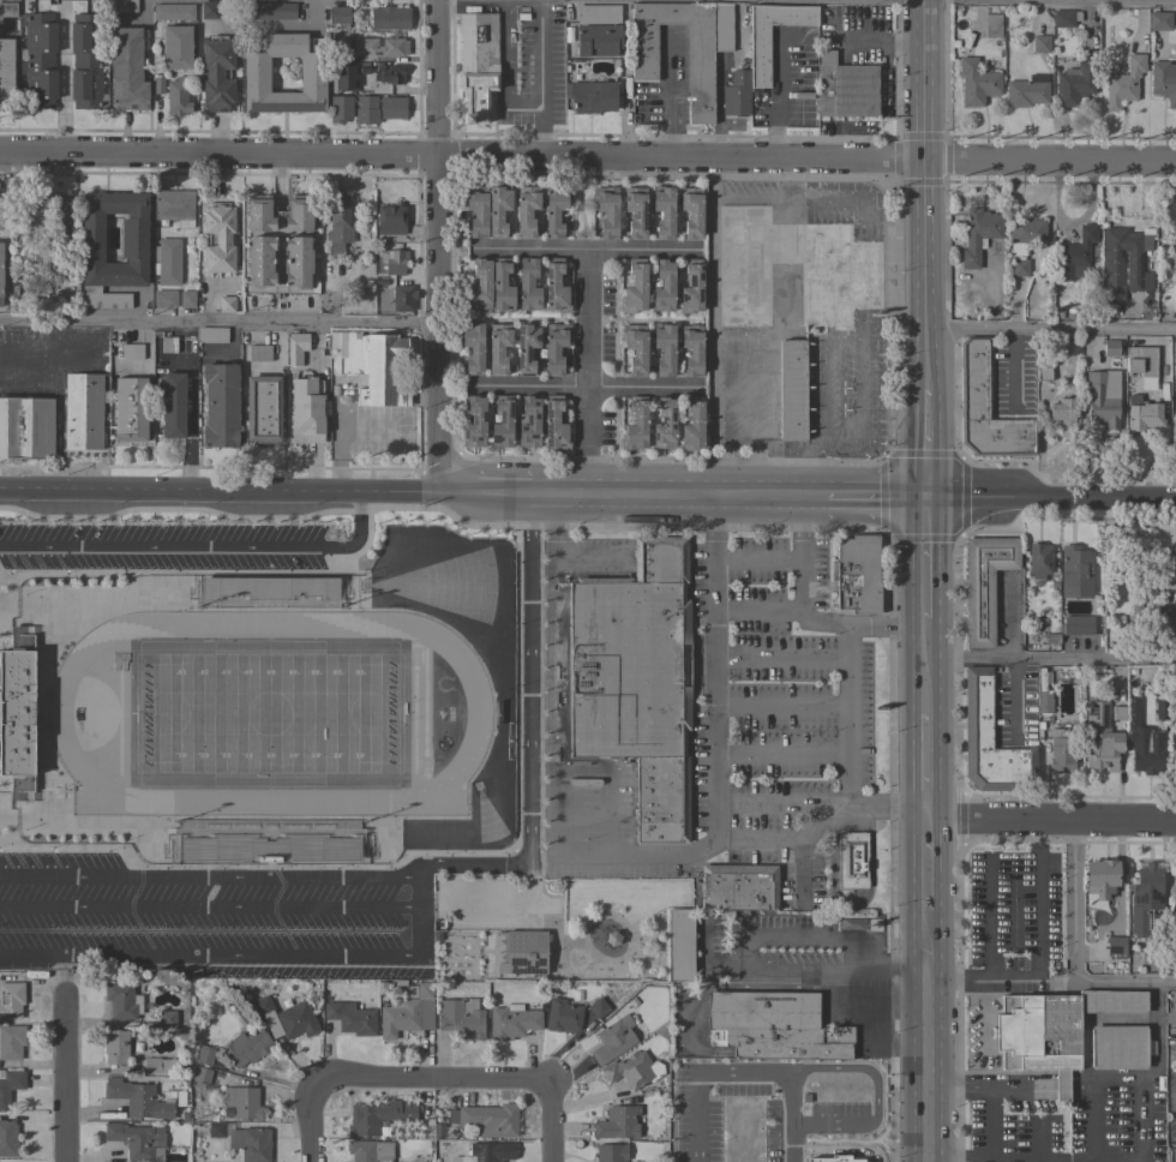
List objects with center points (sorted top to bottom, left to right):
road: (1159, 0)
building: (121, 6)
building: (7, 8)
building: (209, 10)
building: (268, 10)
building: (172, 11)
building: (596, 13)
building: (338, 14)
building: (389, 18)
building: (1063, 18)
building: (1159, 20)
road: (269, 22)
building: (991, 25)
building: (721, 26)
building: (769, 38)
building: (340, 40)
building: (598, 40)
building: (954, 44)
building: (1040, 44)
building: (175, 47)
building: (378, 47)
building: (980, 50)
road: (394, 59)
building: (38, 60)
building: (85, 62)
building: (476, 64)
building: (700, 66)
road: (503, 67)
building: (127, 68)
building: (6, 73)
building: (217, 73)
building: (312, 74)
building: (389, 74)
road: (62, 77)
road: (540, 78)
building: (341, 79)
building: (1163, 82)
building: (976, 83)
building: (1123, 83)
building: (1074, 84)
building: (156, 85)
building: (845, 88)
building: (1026, 91)
road: (671, 94)
building: (736, 94)
building: (176, 96)
building: (592, 96)
building: (391, 107)
building: (340, 108)
building: (365, 110)
road: (464, 155)
road: (1052, 163)
road: (930, 193)
building: (174, 206)
building: (554, 210)
building: (32, 211)
building: (476, 211)
building: (497, 211)
building: (526, 211)
building: (606, 211)
building: (635, 211)
building: (662, 211)
building: (278, 212)
building: (691, 212)
building: (62, 215)
building: (389, 220)
building: (337, 223)
building: (977, 234)
building: (133, 238)
building: (218, 240)
building: (1022, 241)
road: (434, 245)
road: (533, 250)
road: (641, 251)
building: (1075, 254)
building: (40, 259)
building: (260, 260)
building: (168, 262)
building: (296, 262)
building: (392, 262)
building: (1120, 262)
building: (744, 266)
building: (67, 275)
building: (836, 275)
building: (480, 284)
building: (502, 284)
building: (528, 286)
building: (664, 286)
building: (554, 287)
building: (634, 287)
building: (691, 287)
building: (402, 297)
building: (164, 299)
building: (186, 299)
building: (226, 304)
building: (1058, 315)
road: (217, 322)
road: (1052, 331)
building: (212, 335)
building: (168, 345)
building: (473, 347)
building: (498, 347)
building: (526, 347)
building: (554, 347)
building: (294, 348)
building: (635, 348)
building: (664, 348)
building: (1110, 348)
building: (691, 349)
building: (131, 351)
building: (258, 353)
road: (130, 363)
building: (370, 365)
building: (1141, 366)
road: (587, 372)
building: (1043, 372)
road: (584, 388)
building: (791, 389)
building: (844, 390)
building: (1103, 397)
building: (173, 405)
road: (188, 406)
building: (220, 406)
building: (986, 408)
building: (130, 409)
building: (262, 409)
building: (1062, 409)
building: (83, 411)
building: (306, 411)
building: (1141, 414)
building: (500, 421)
building: (527, 421)
building: (474, 423)
building: (554, 424)
building: (635, 424)
building: (664, 424)
building: (692, 424)
building: (25, 427)
road: (930, 445)
road: (178, 490)
road: (440, 491)
road: (538, 493)
road: (686, 496)
road: (876, 501)
traffic signals: (930, 503)
road: (1052, 503)
road: (202, 543)
road: (713, 555)
road: (755, 558)
road: (798, 558)
road: (930, 561)
building: (1038, 562)
building: (1163, 570)
building: (1075, 573)
building: (857, 574)
building: (984, 585)
building: (266, 592)
building: (1076, 625)
building: (1171, 625)
building: (236, 628)
road: (1054, 660)
road: (931, 667)
building: (635, 679)
building: (1044, 702)
stadium: (266, 707)
building: (1164, 708)
road: (710, 709)
building: (16, 712)
park: (265, 712)
track: (266, 712)
building: (1117, 713)
road: (848, 714)
building: (1130, 720)
building: (1175, 730)
building: (1100, 738)
building: (990, 742)
building: (1061, 750)
building: (1145, 756)
road: (931, 768)
road: (528, 774)
road: (551, 775)
road: (1054, 822)
road: (809, 825)
road: (785, 841)
building: (853, 859)
road: (932, 867)
road: (208, 874)
building: (1102, 878)
building: (1174, 881)
building: (1148, 885)
building: (738, 887)
road: (1037, 900)
road: (208, 905)
building: (850, 923)
building: (1154, 923)
park: (547, 924)
road: (774, 934)
building: (1116, 945)
building: (679, 946)
road: (1074, 948)
road: (205, 953)
building: (523, 953)
road: (1006, 980)
building: (11, 1000)
building: (122, 1000)
building: (598, 1007)
building: (402, 1012)
building: (562, 1016)
building: (286, 1018)
building: (350, 1018)
building: (167, 1019)
building: (461, 1019)
building: (512, 1022)
building: (772, 1026)
building: (1052, 1030)
road: (932, 1037)
road: (859, 1038)
building: (613, 1040)
building: (11, 1042)
building: (115, 1047)
building: (246, 1047)
building: (1118, 1048)
building: (203, 1056)
building: (156, 1065)
building: (632, 1070)
building: (200, 1076)
road: (737, 1076)
road: (432, 1083)
road: (955, 1085)
building: (10, 1086)
road: (68, 1086)
building: (137, 1098)
building: (245, 1103)
building: (378, 1116)
building: (490, 1120)
road: (313, 1121)
building: (617, 1122)
road: (551, 1124)
building: (215, 1130)
building: (437, 1131)
building: (7, 1138)
building: (137, 1140)
building: (250, 1143)
road: (990, 1144)
road: (1141, 1145)
building: (370, 1150)
building: (486, 1152)
building: (610, 1152)

